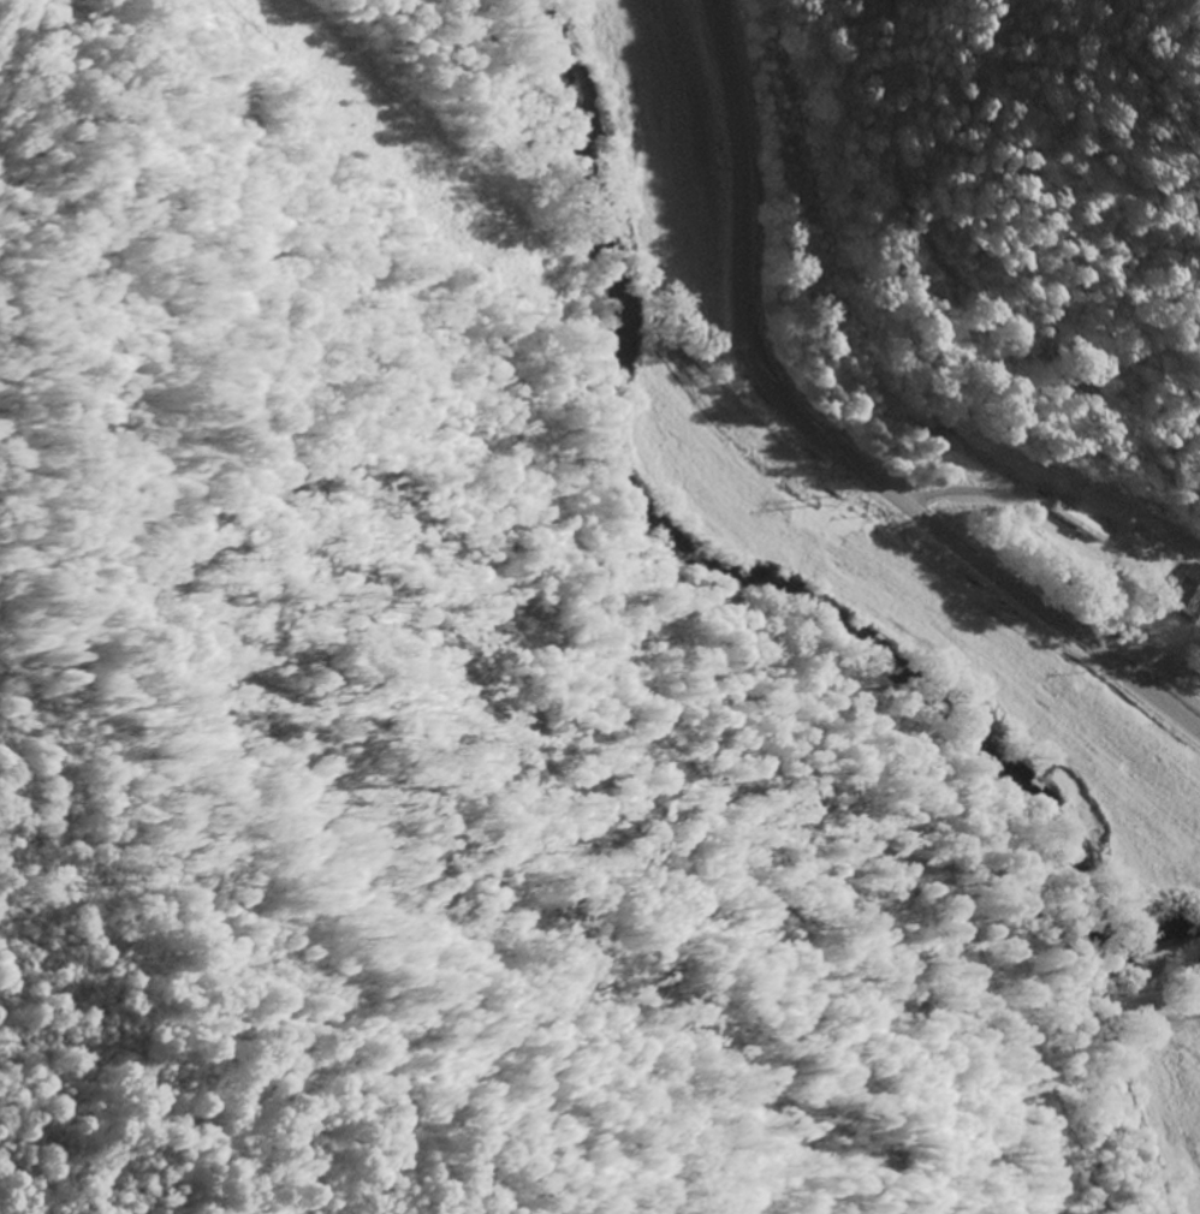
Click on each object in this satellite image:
road: (827, 439)
building: (1077, 520)
park: (1135, 552)
building: (1187, 591)
road: (1137, 1097)

